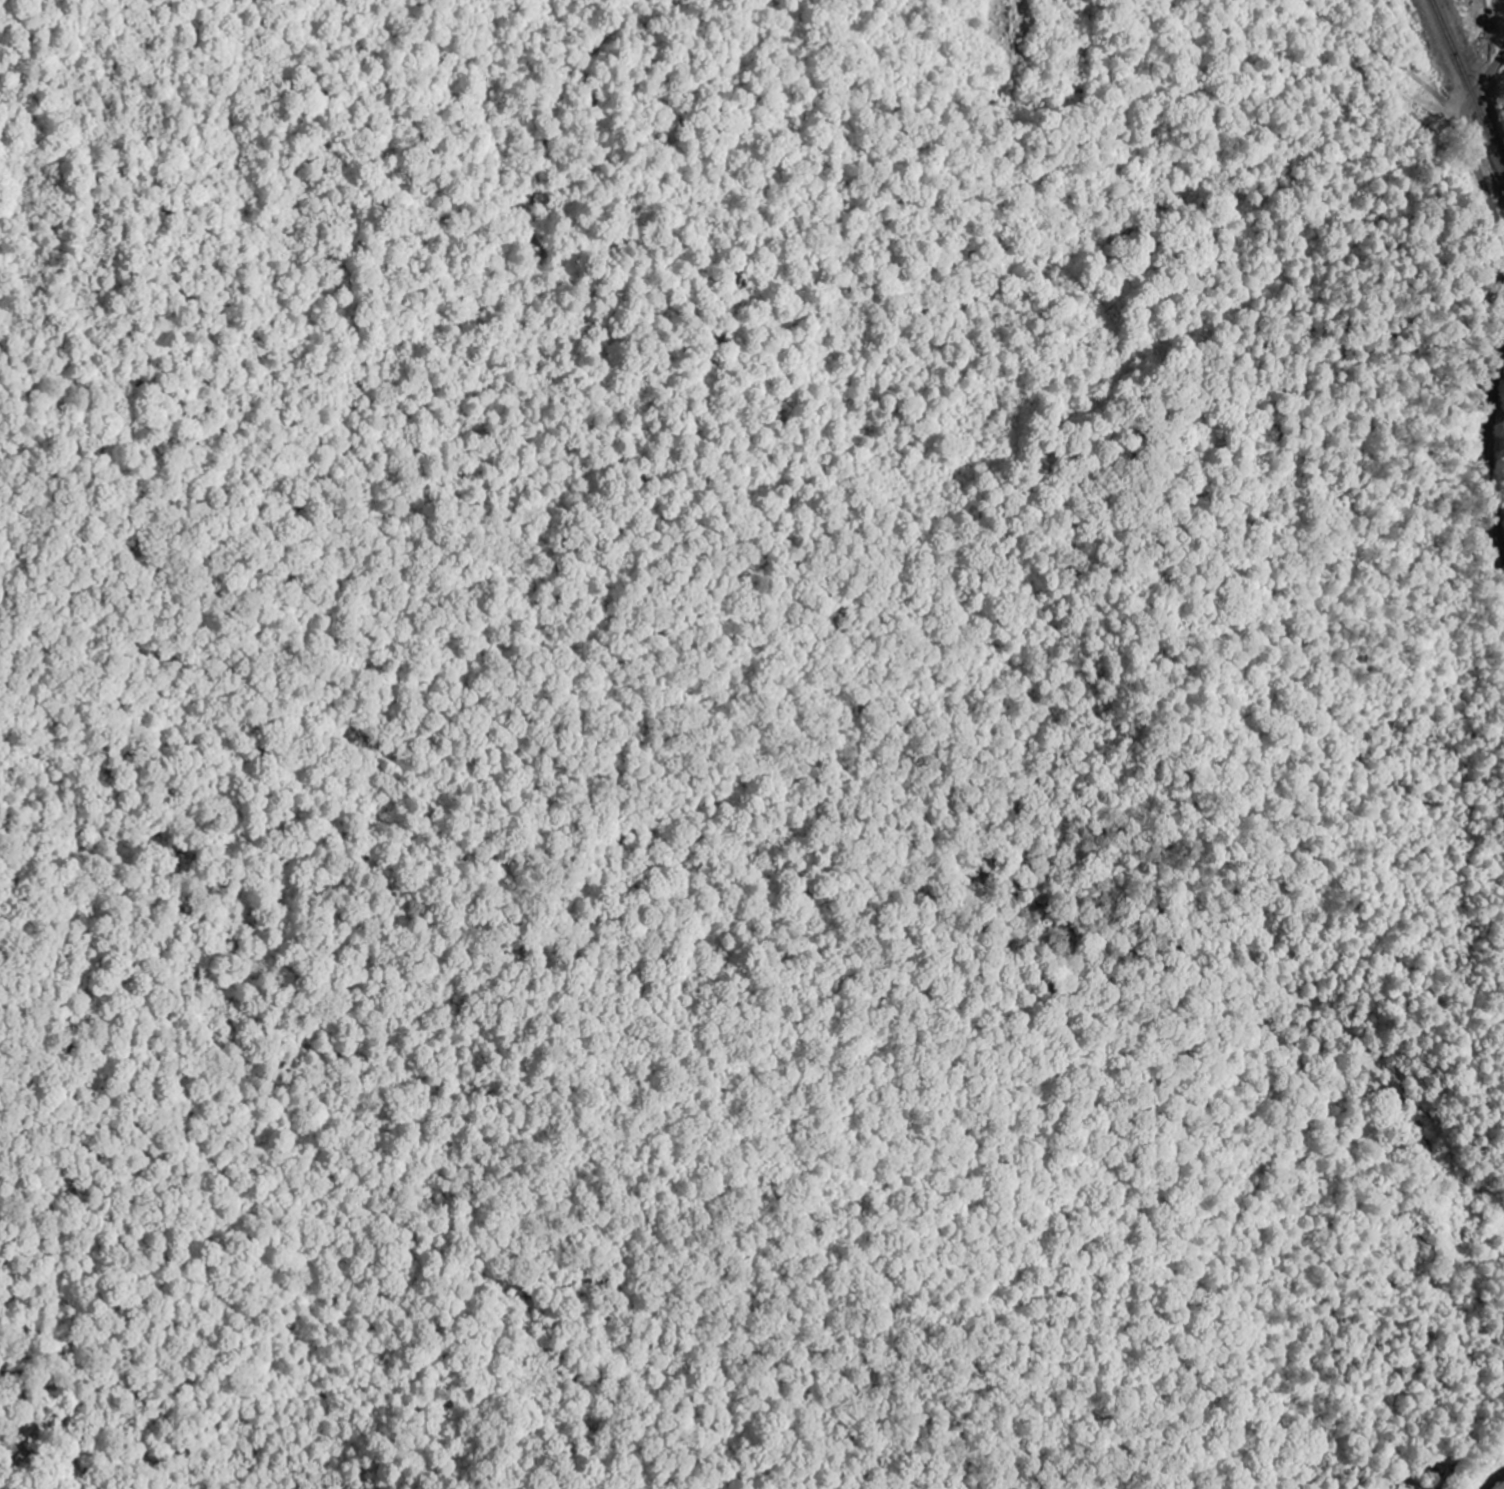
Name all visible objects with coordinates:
road: (1384, 55)
railway: (1464, 83)
road: (1463, 135)
road: (1498, 440)
railway: (1494, 1476)
building: (1404, 1487)

